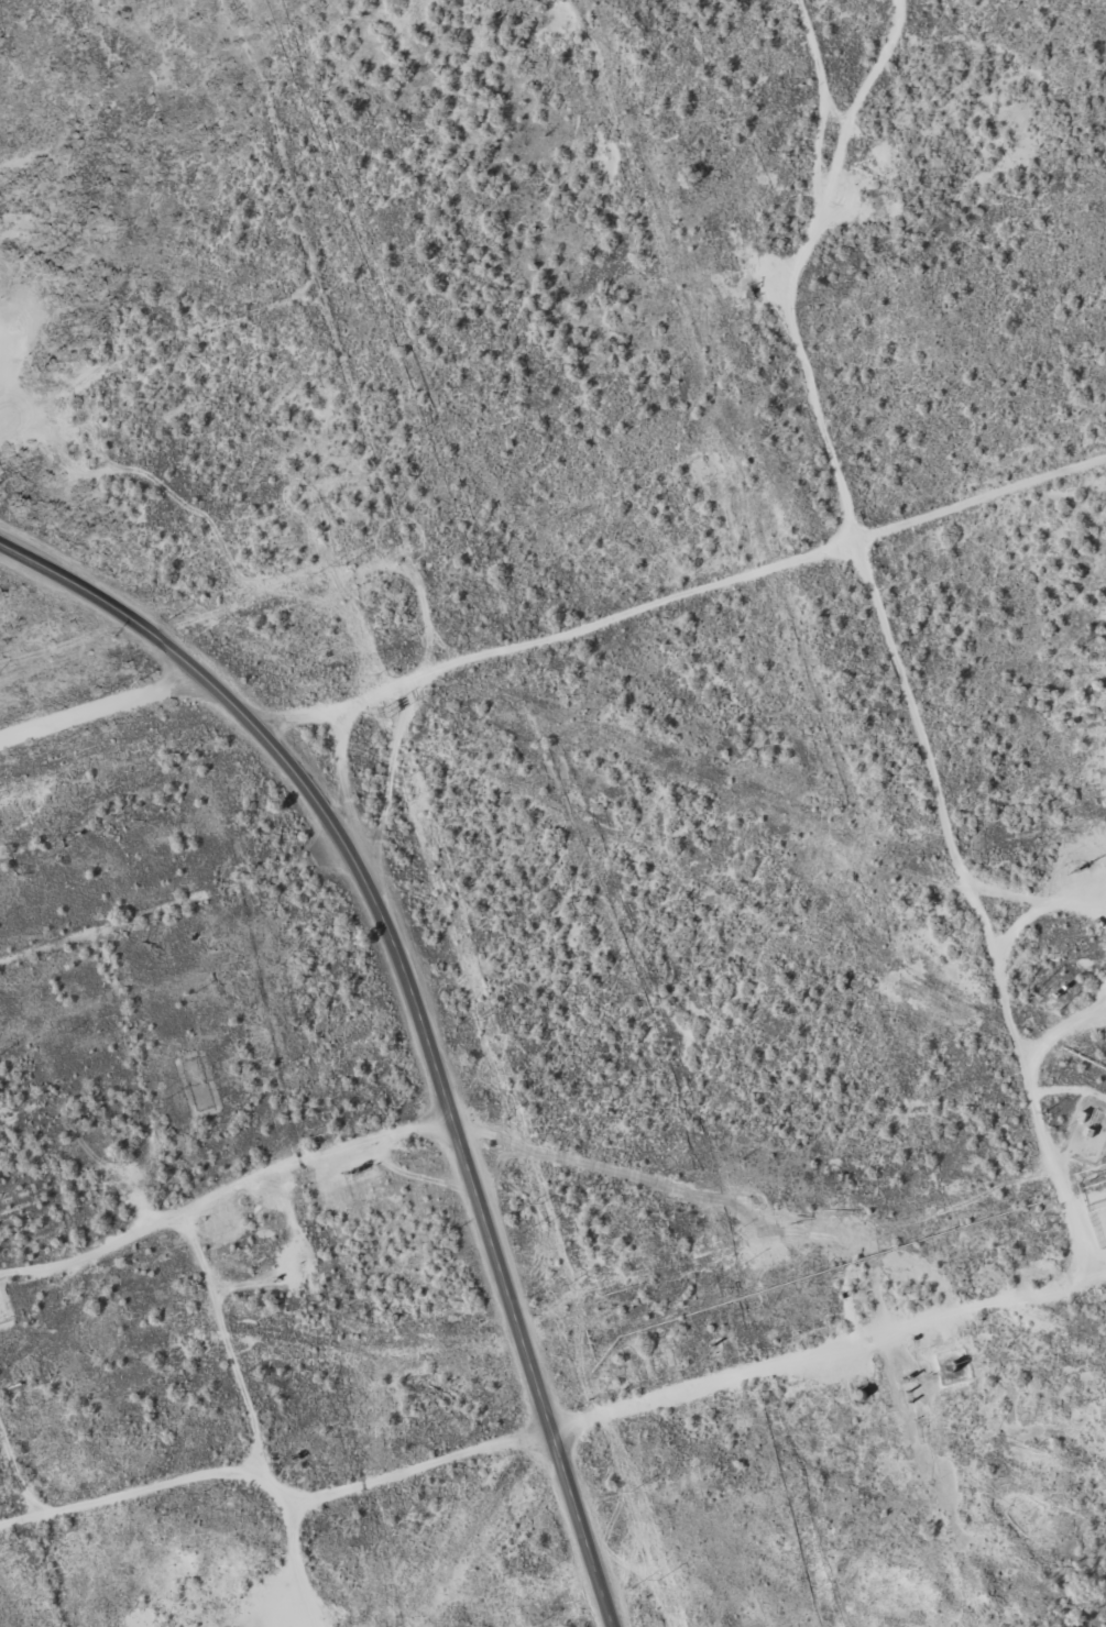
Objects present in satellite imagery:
road: (155, 350)
road: (373, 433)
road: (855, 564)
road: (680, 601)
road: (103, 707)
road: (1053, 924)
road: (420, 1007)
road: (1064, 1141)
road: (231, 1298)
road: (696, 1393)

